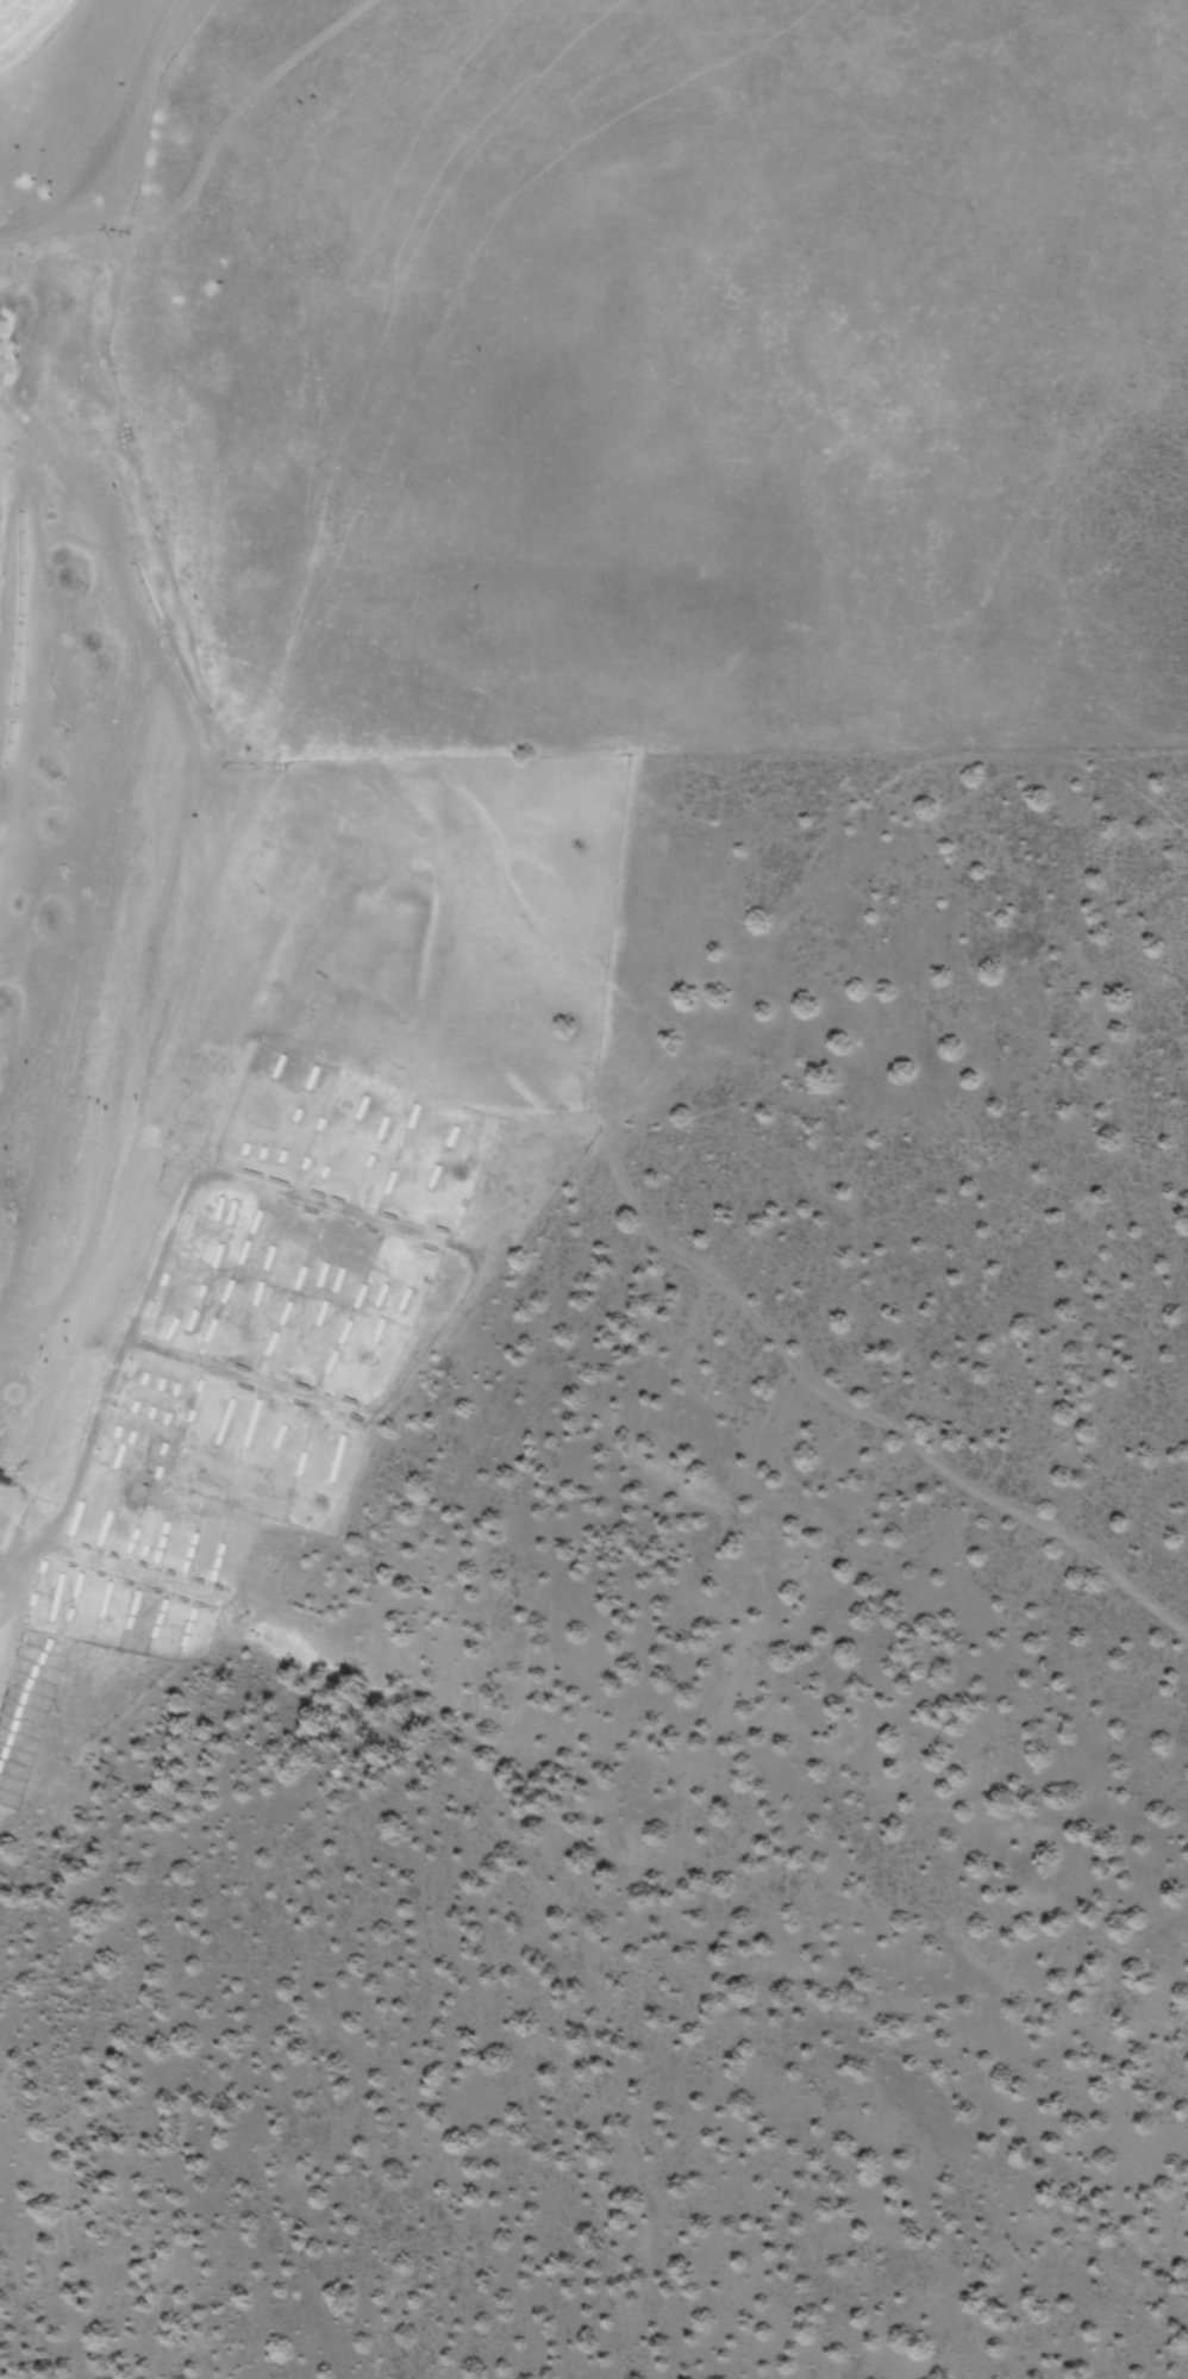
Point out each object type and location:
crop: (58, 39)
road: (331, 573)
crop: (221, 908)
building: (223, 1213)
building: (268, 1260)
building: (298, 1280)
building: (337, 1282)
building: (380, 1298)
building: (357, 1300)
building: (283, 1316)
building: (343, 1335)
building: (270, 1345)
building: (331, 1365)
building: (102, 1530)
building: (188, 1556)
building: (131, 1613)
building: (187, 1630)

